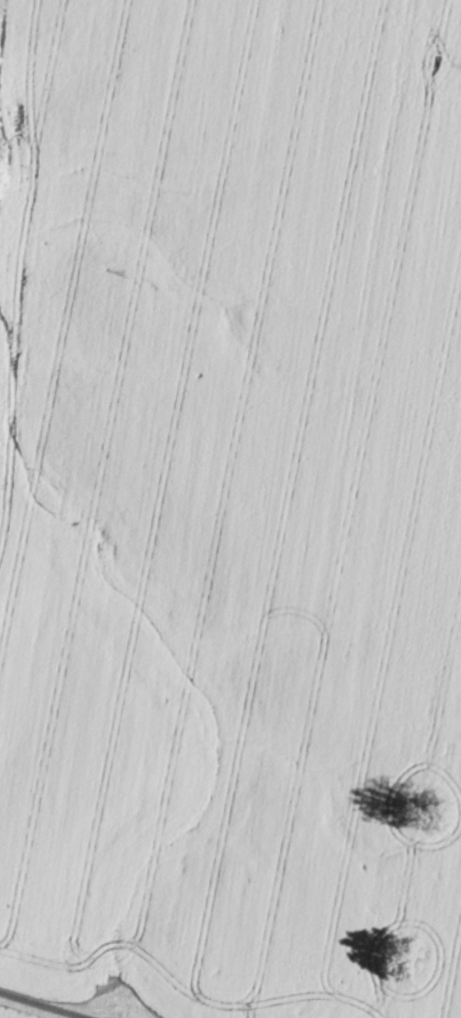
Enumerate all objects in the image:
road: (42, 1005)

